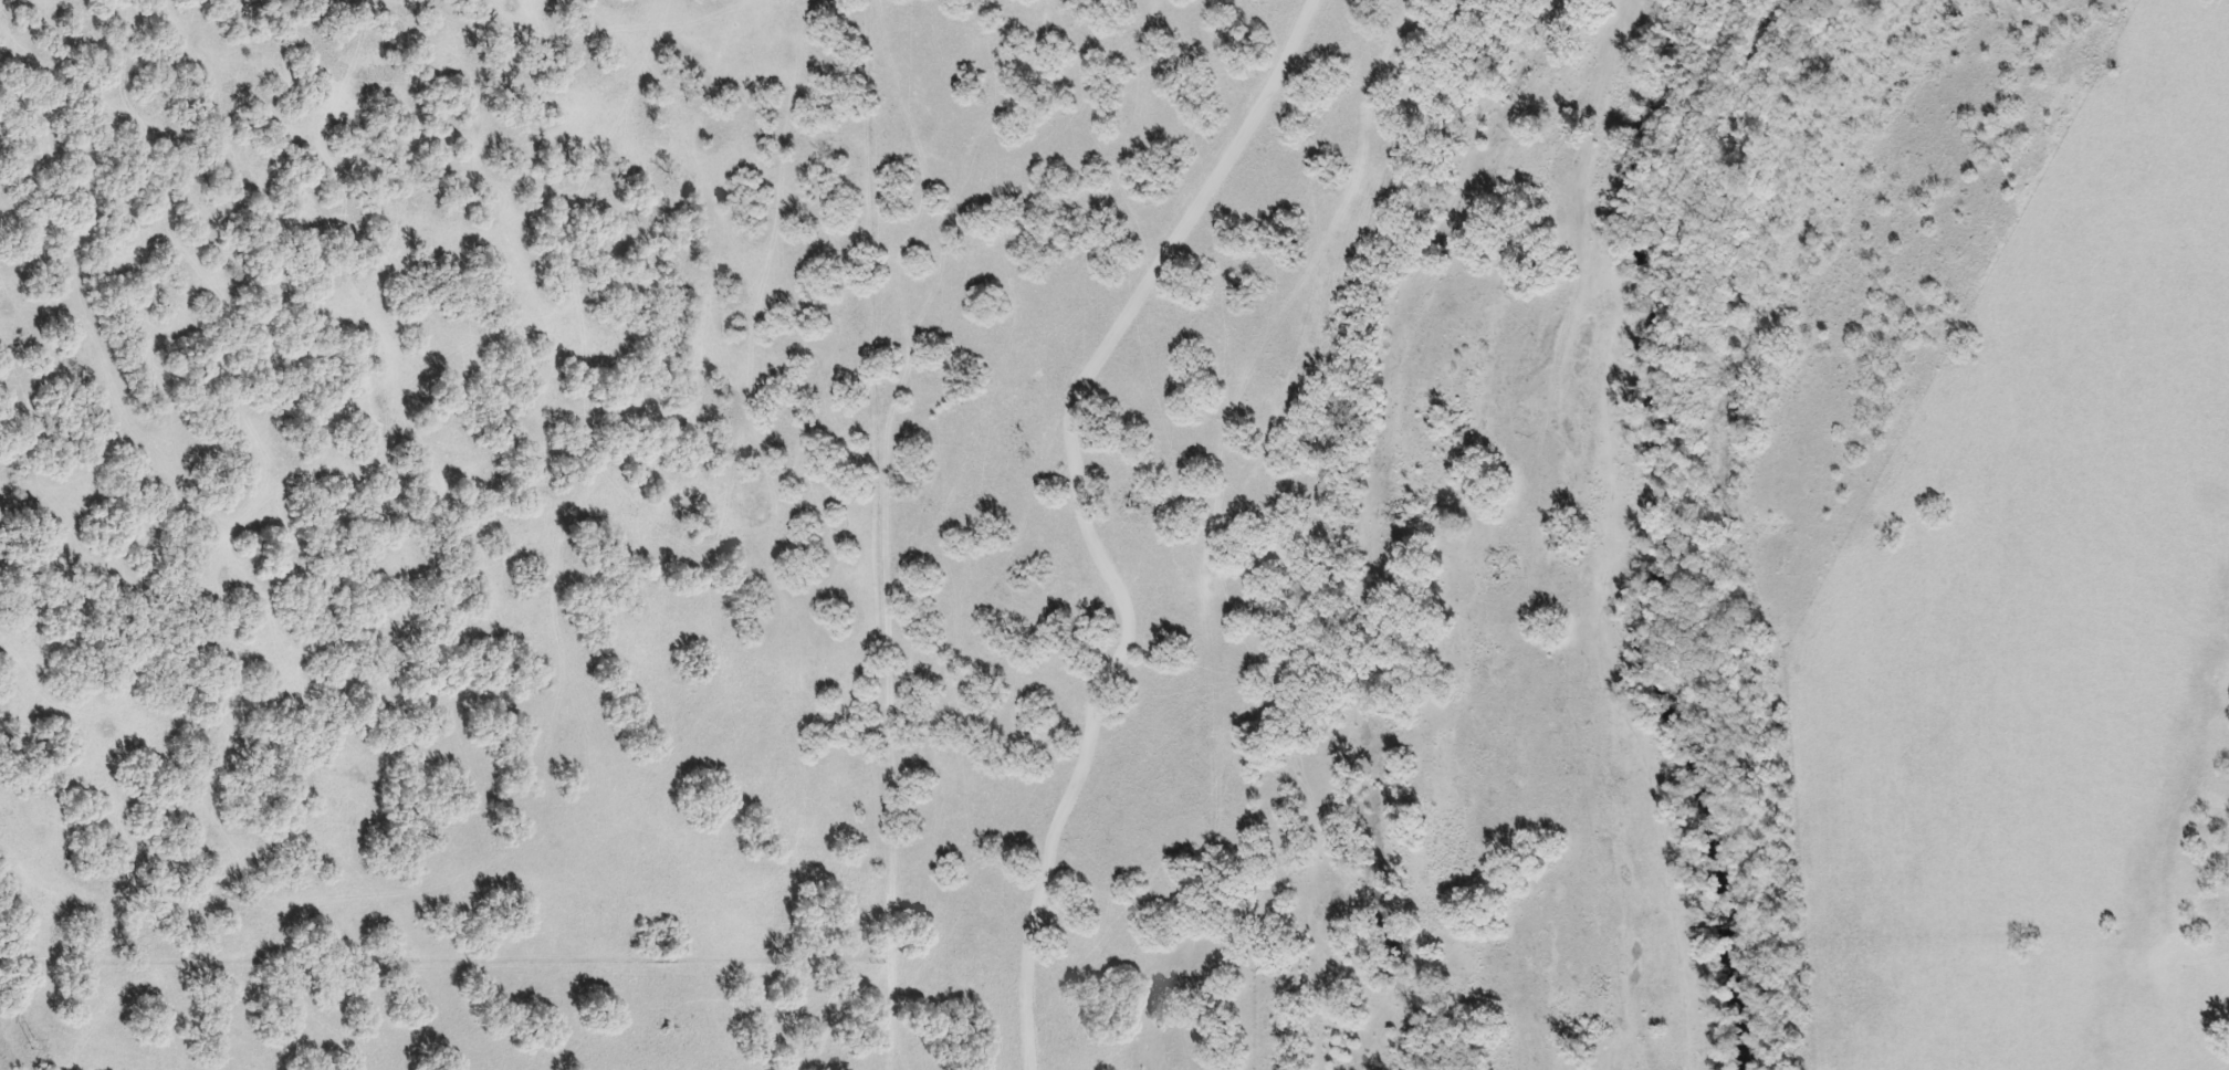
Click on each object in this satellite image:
river: (1663, 529)
power tower: (42, 1042)

